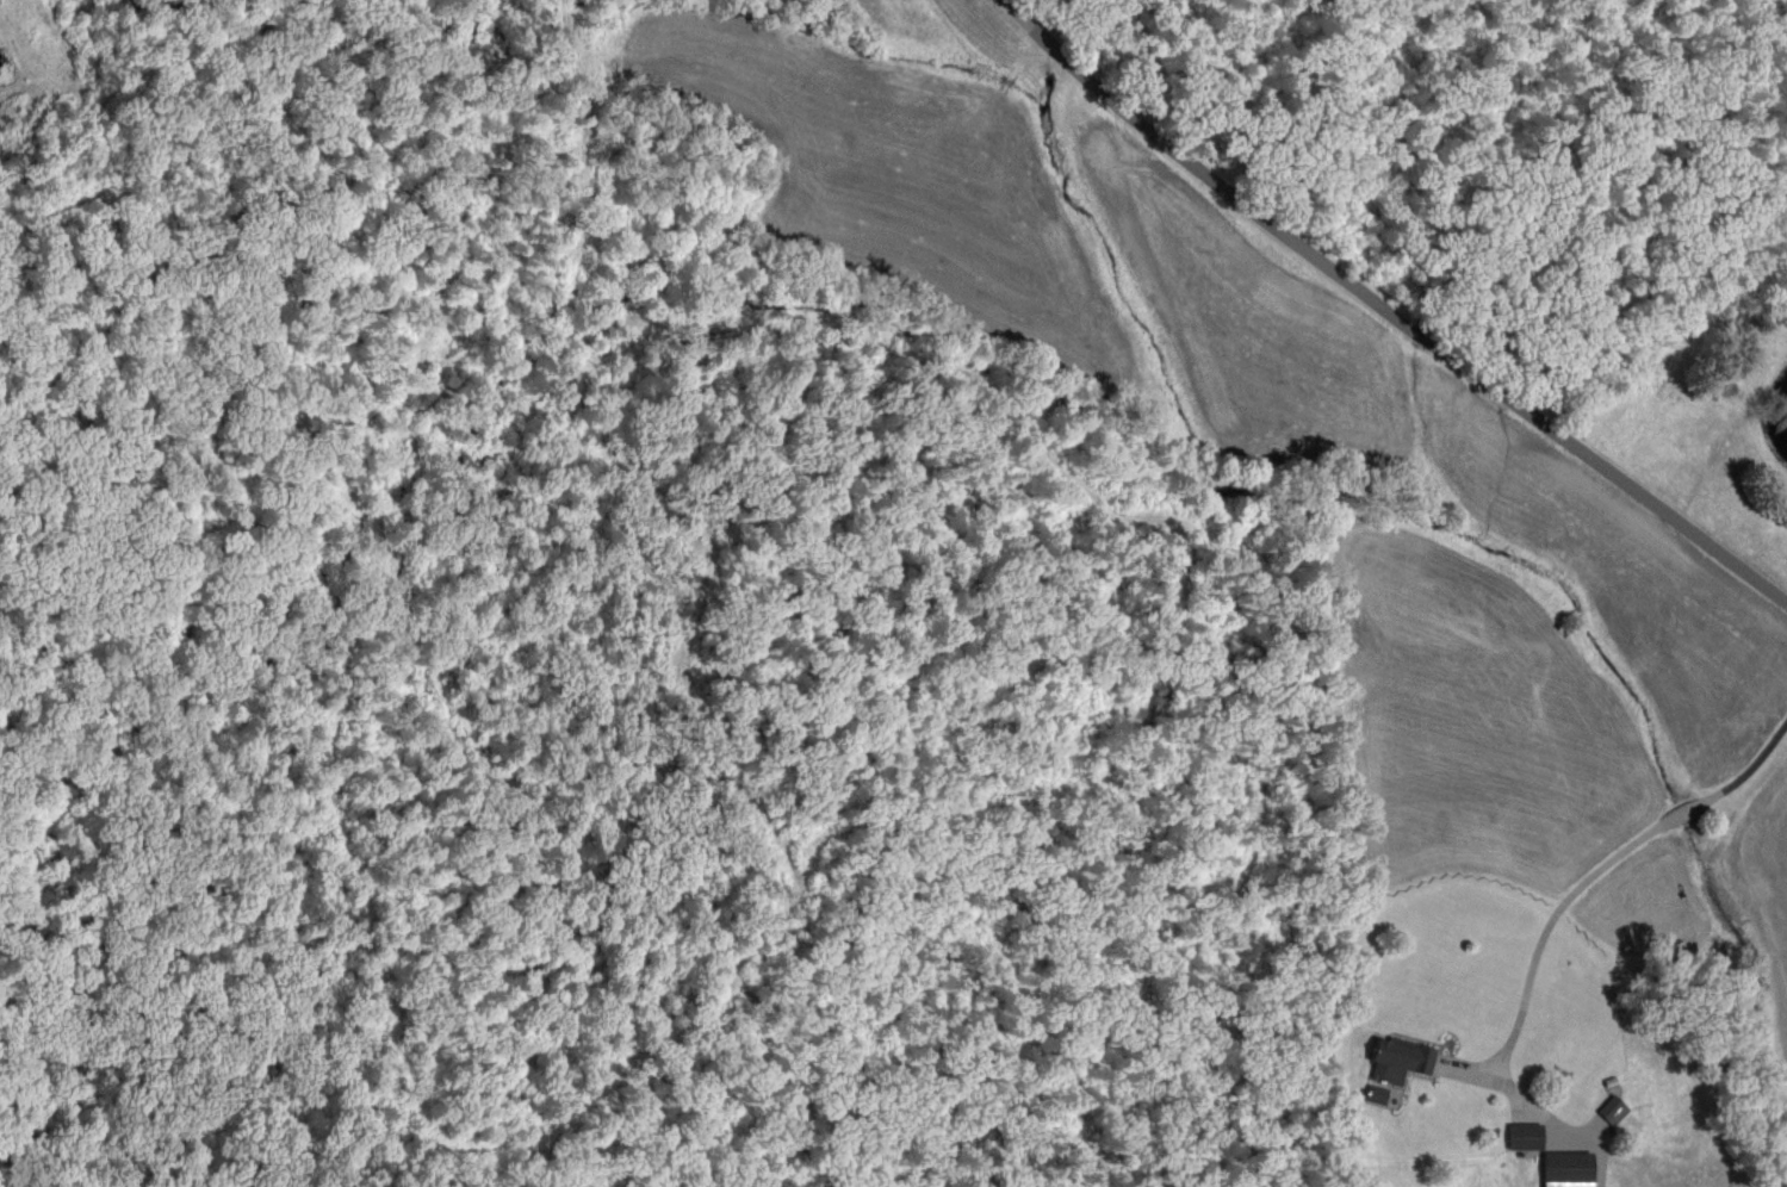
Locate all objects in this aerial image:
road: (1383, 313)
building: (1395, 1058)
building: (1372, 1094)
building: (1608, 1108)
building: (1520, 1135)
building: (1562, 1168)

